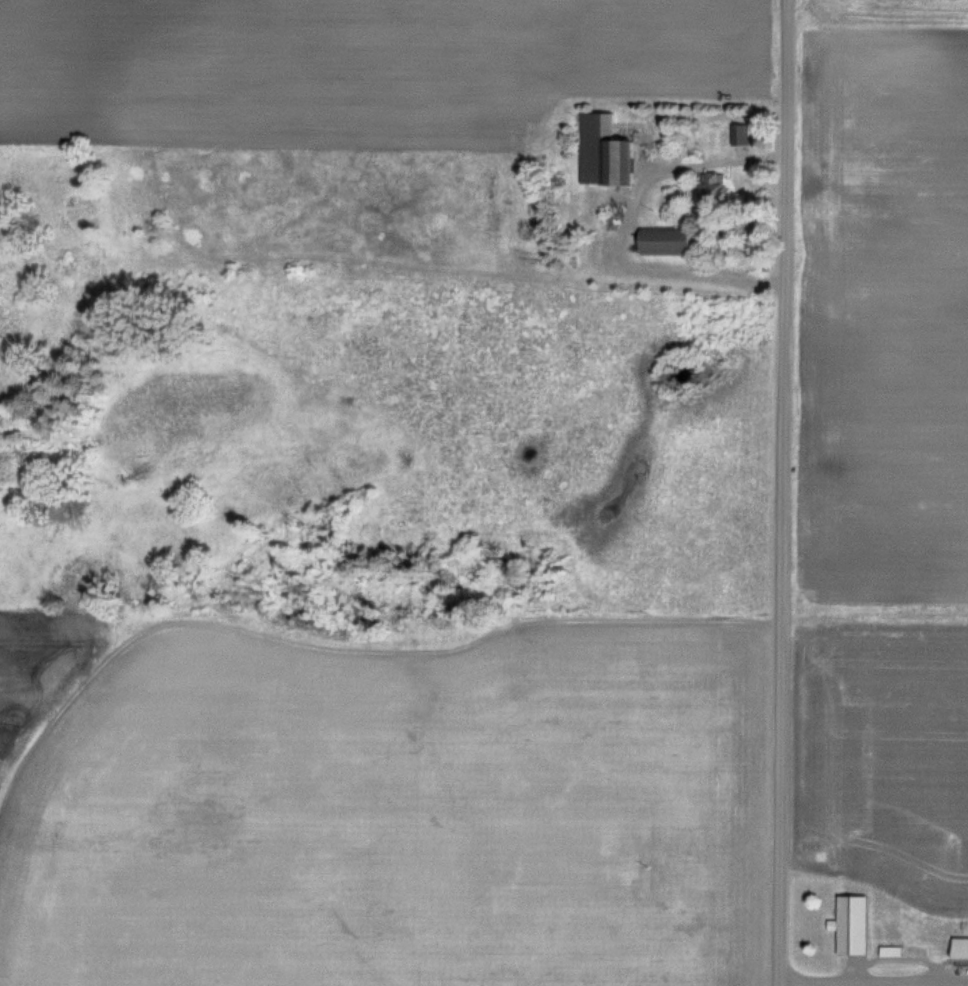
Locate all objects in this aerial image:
building: (741, 134)
building: (605, 151)
building: (714, 189)
road: (622, 229)
building: (667, 240)
road: (780, 492)
building: (853, 923)
building: (961, 946)
road: (866, 981)

